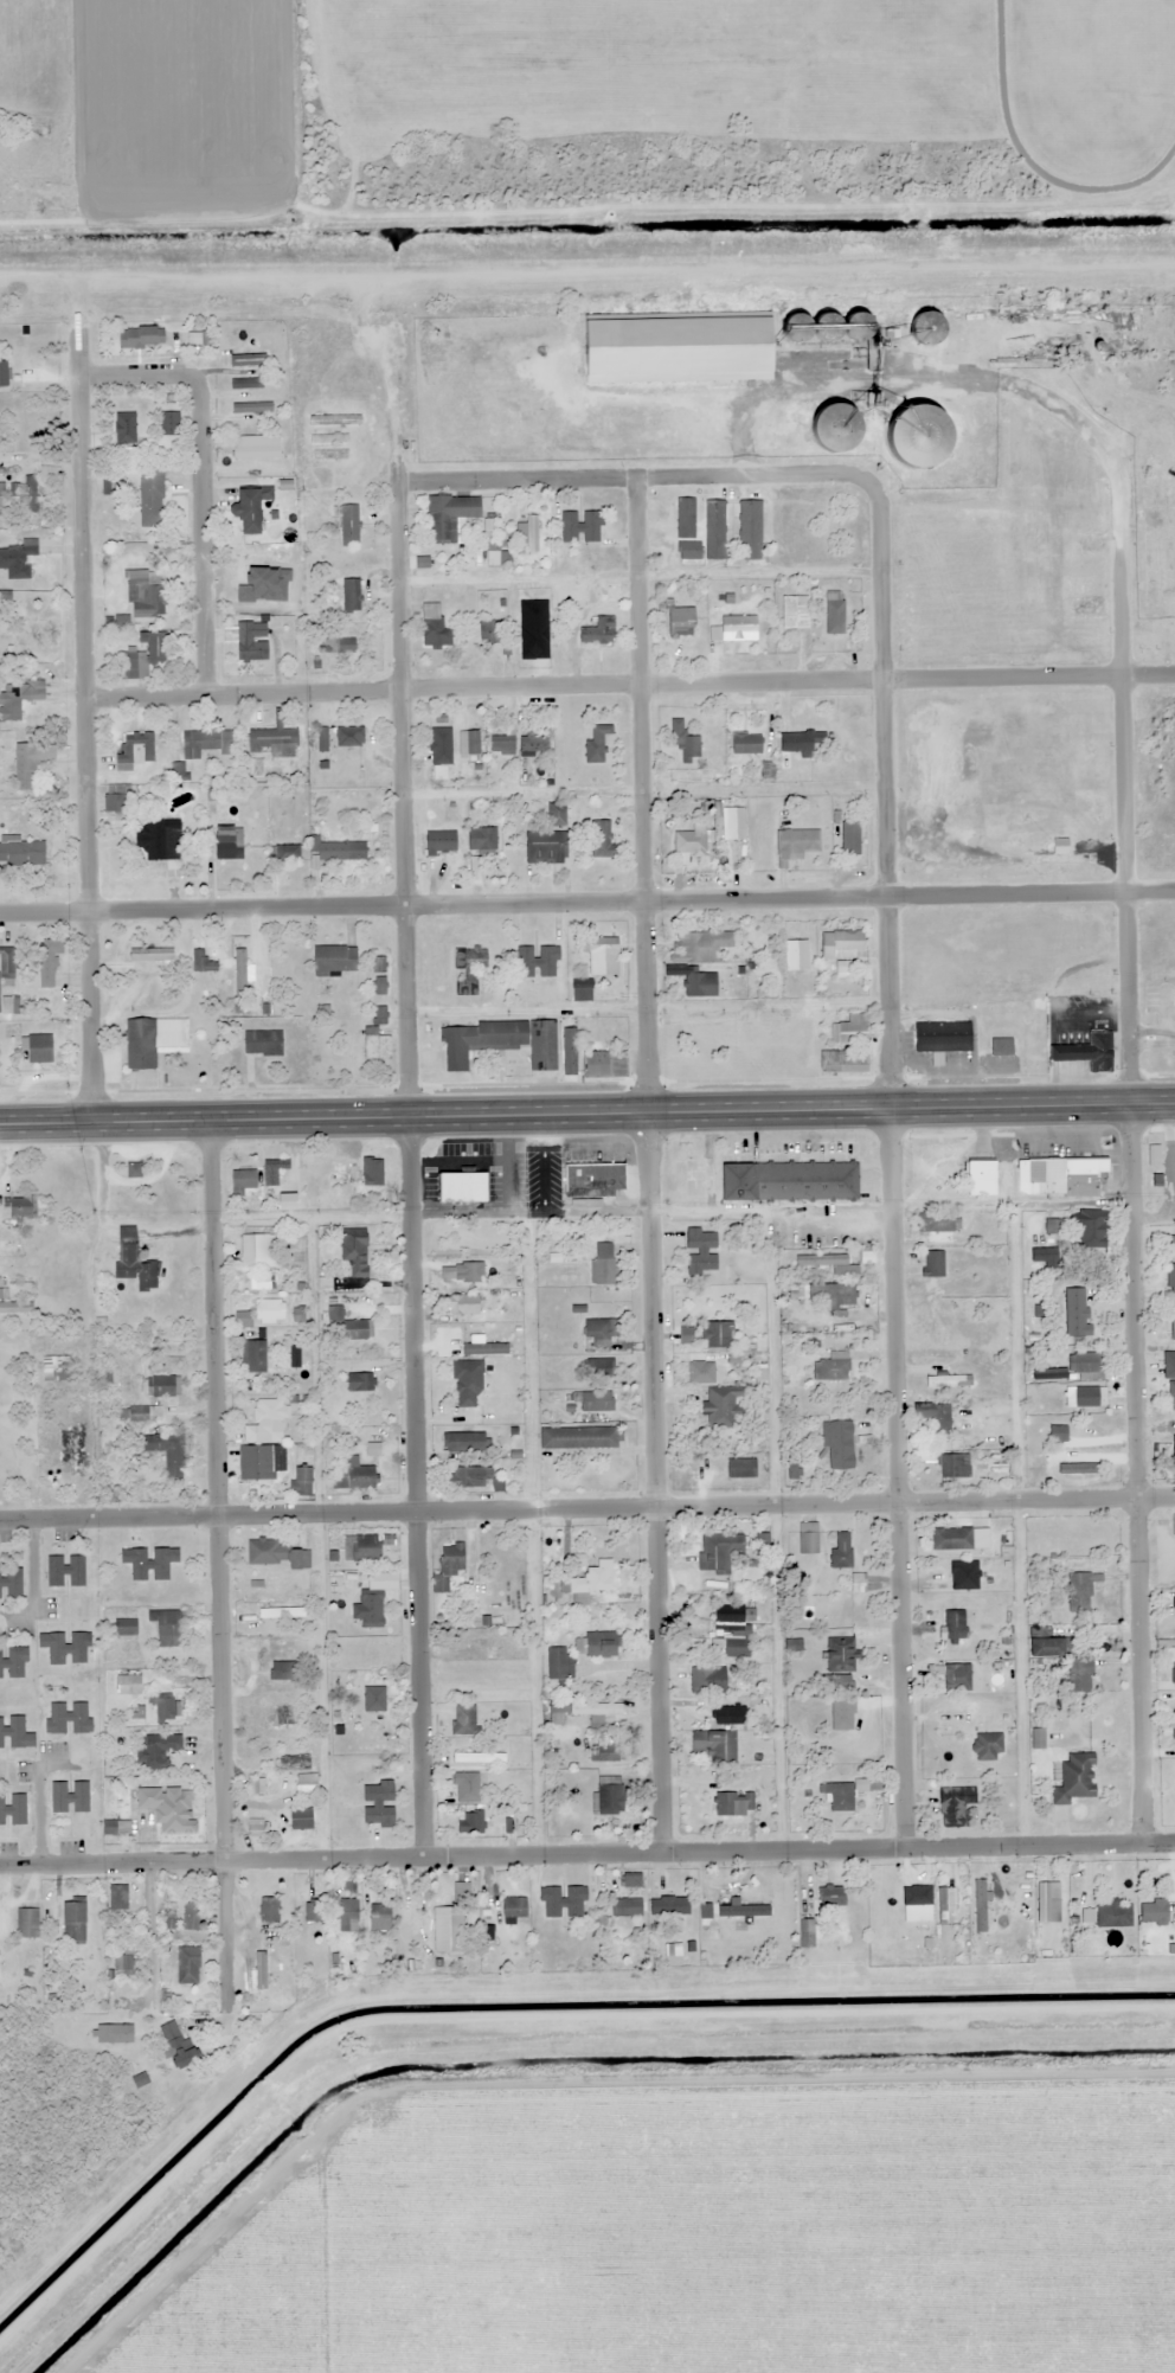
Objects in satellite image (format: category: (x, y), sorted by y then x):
railway: (587, 288)
building: (931, 327)
building: (141, 338)
building: (198, 339)
building: (681, 349)
building: (246, 360)
road: (133, 372)
building: (4, 373)
building: (246, 384)
building: (165, 399)
building: (252, 409)
building: (335, 421)
building: (124, 428)
building: (841, 430)
building: (922, 437)
building: (329, 440)
building: (256, 448)
building: (330, 456)
road: (631, 475)
building: (152, 496)
building: (251, 509)
building: (449, 517)
building: (687, 519)
building: (349, 526)
building: (582, 527)
building: (715, 530)
building: (751, 530)
road: (201, 533)
building: (528, 533)
building: (689, 551)
building: (18, 560)
building: (251, 579)
building: (351, 596)
building: (145, 597)
building: (795, 613)
building: (835, 613)
building: (682, 622)
building: (534, 628)
building: (739, 628)
building: (435, 629)
building: (494, 631)
building: (599, 631)
building: (252, 641)
building: (336, 646)
building: (143, 659)
road: (628, 684)
building: (12, 706)
road: (82, 724)
building: (349, 737)
building: (274, 739)
building: (322, 740)
building: (803, 742)
building: (469, 743)
building: (686, 743)
building: (205, 744)
building: (534, 744)
building: (597, 744)
building: (746, 744)
building: (502, 745)
building: (441, 751)
building: (123, 753)
building: (26, 767)
building: (116, 800)
building: (556, 814)
building: (736, 819)
building: (850, 838)
building: (601, 839)
building: (482, 840)
building: (691, 840)
building: (229, 841)
building: (441, 842)
building: (798, 842)
building: (162, 844)
building: (1061, 846)
building: (546, 847)
building: (341, 849)
building: (23, 852)
building: (285, 853)
road: (586, 900)
building: (701, 944)
building: (843, 944)
building: (150, 954)
building: (604, 956)
building: (335, 960)
building: (7, 961)
building: (538, 961)
building: (49, 962)
building: (203, 962)
building: (469, 968)
building: (699, 982)
building: (850, 1030)
building: (943, 1037)
building: (263, 1043)
building: (500, 1043)
building: (141, 1044)
building: (378, 1046)
building: (1002, 1046)
building: (40, 1048)
building: (570, 1050)
building: (1094, 1052)
building: (845, 1062)
building: (604, 1063)
road: (586, 1111)
road: (1129, 1150)
building: (1001, 1157)
road: (888, 1161)
building: (940, 1161)
road: (646, 1163)
road: (407, 1168)
building: (274, 1172)
building: (370, 1175)
building: (595, 1179)
building: (789, 1180)
building: (1068, 1180)
building: (511, 1181)
building: (244, 1182)
building: (463, 1186)
building: (289, 1201)
building: (19, 1211)
building: (937, 1223)
building: (1053, 1226)
building: (1092, 1229)
building: (465, 1240)
building: (256, 1250)
building: (701, 1250)
building: (355, 1251)
building: (1046, 1258)
building: (134, 1261)
building: (824, 1262)
building: (603, 1264)
building: (933, 1264)
building: (1173, 1276)
building: (828, 1300)
building: (461, 1304)
building: (15, 1308)
building: (270, 1310)
building: (1078, 1311)
building: (243, 1319)
building: (1173, 1319)
building: (347, 1326)
building: (718, 1334)
building: (599, 1335)
building: (255, 1355)
building: (1168, 1361)
building: (1086, 1366)
building: (833, 1367)
building: (56, 1368)
building: (360, 1381)
building: (468, 1384)
building: (162, 1386)
building: (720, 1393)
building: (1171, 1394)
building: (1086, 1397)
building: (597, 1400)
building: (936, 1417)
building: (267, 1422)
building: (578, 1437)
building: (463, 1442)
building: (840, 1444)
building: (71, 1451)
building: (1173, 1451)
building: (167, 1452)
building: (265, 1462)
building: (954, 1466)
building: (741, 1468)
building: (470, 1476)
building: (354, 1477)
building: (302, 1481)
road: (587, 1508)
building: (808, 1538)
building: (961, 1538)
building: (362, 1547)
building: (842, 1550)
building: (267, 1552)
building: (719, 1552)
building: (300, 1559)
building: (149, 1563)
road: (217, 1563)
building: (449, 1566)
building: (66, 1571)
building: (964, 1574)
building: (591, 1579)
building: (11, 1582)
building: (859, 1583)
building: (1081, 1591)
building: (954, 1606)
building: (1174, 1608)
building: (372, 1610)
building: (126, 1627)
building: (168, 1628)
building: (732, 1628)
building: (958, 1638)
building: (601, 1644)
building: (66, 1648)
building: (841, 1655)
building: (12, 1662)
building: (558, 1663)
building: (1174, 1665)
building: (281, 1670)
building: (1080, 1675)
building: (954, 1676)
building: (708, 1680)
building: (375, 1695)
building: (166, 1707)
building: (136, 1708)
building: (582, 1711)
building: (842, 1714)
building: (731, 1715)
building: (69, 1718)
building: (463, 1719)
building: (280, 1720)
building: (14, 1733)
building: (1174, 1740)
building: (714, 1744)
building: (988, 1746)
building: (158, 1751)
building: (608, 1753)
building: (479, 1758)
building: (295, 1763)
building: (700, 1772)
building: (1076, 1778)
building: (306, 1783)
building: (256, 1787)
building: (467, 1787)
building: (610, 1796)
building: (70, 1797)
building: (841, 1797)
building: (379, 1803)
building: (733, 1803)
building: (955, 1806)
building: (14, 1810)
building: (301, 1819)
building: (470, 1822)
building: (116, 1828)
building: (255, 1828)
building: (175, 1830)
road: (587, 1854)
building: (461, 1892)
building: (832, 1896)
building: (118, 1899)
building: (564, 1901)
building: (1048, 1903)
building: (669, 1905)
building: (514, 1907)
building: (628, 1907)
building: (269, 1911)
building: (314, 1911)
building: (1154, 1911)
building: (723, 1912)
building: (1115, 1915)
building: (348, 1916)
building: (380, 1918)
building: (192, 1920)
building: (73, 1922)
building: (27, 1923)
building: (411, 1923)
building: (804, 1933)
building: (123, 1964)
building: (188, 1965)
building: (110, 2034)
building: (179, 2047)

